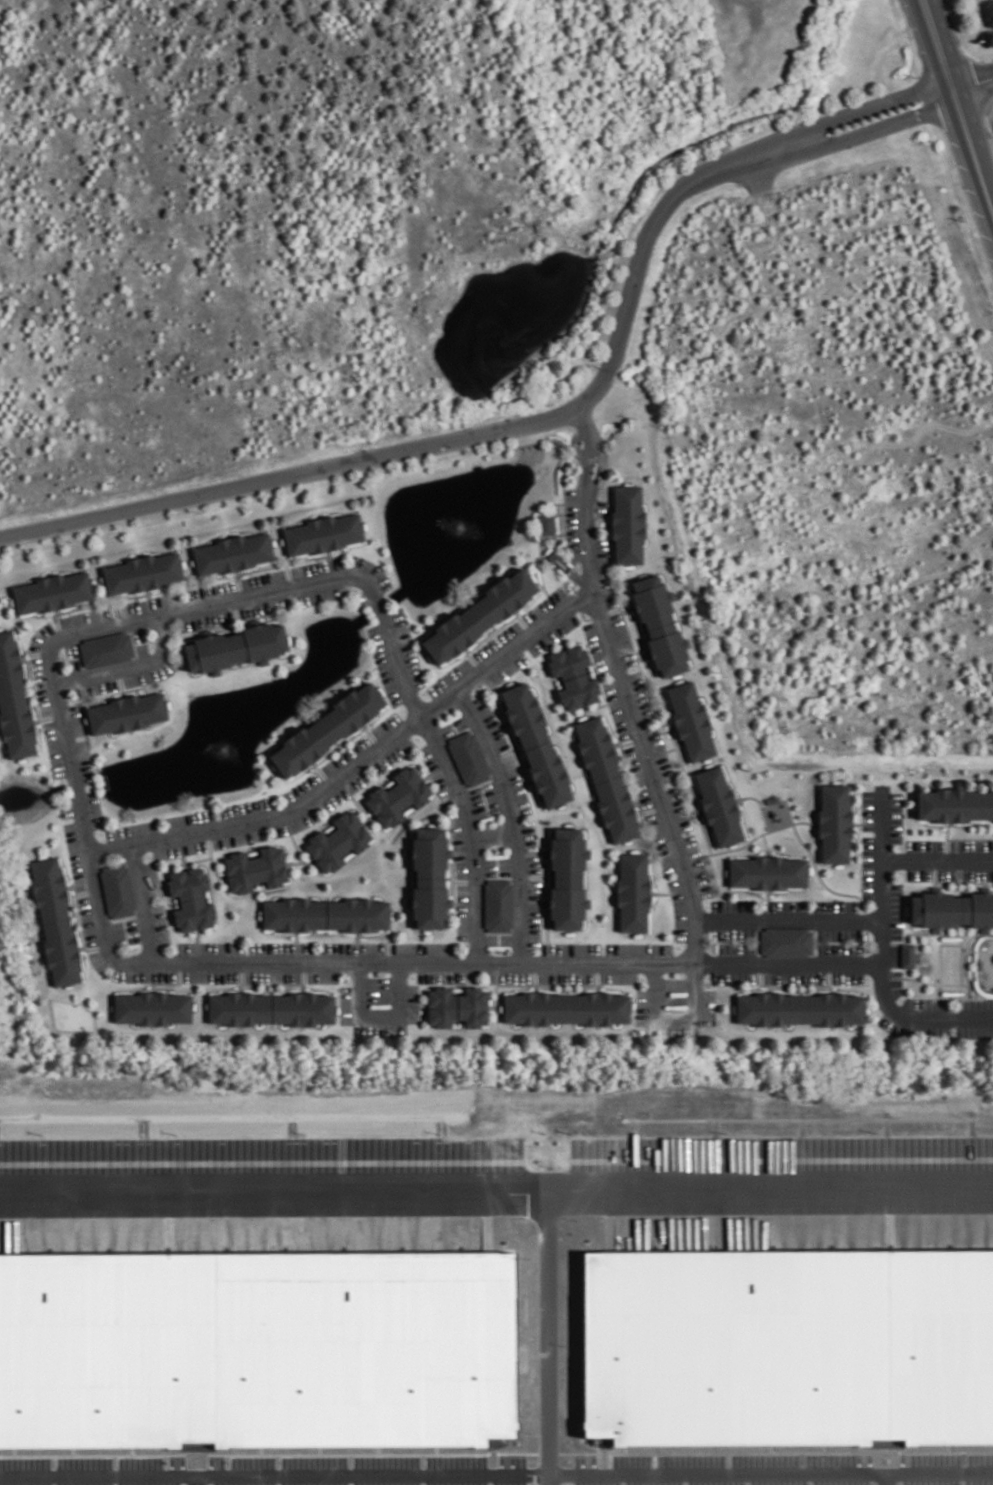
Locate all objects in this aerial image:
road: (938, 45)
road: (973, 85)
road: (866, 104)
road: (963, 120)
road: (874, 127)
road: (983, 179)
road: (582, 421)
road: (469, 434)
road: (585, 464)
road: (601, 464)
street lamp: (607, 468)
road: (569, 501)
road: (564, 507)
parking lot: (600, 507)
building: (545, 523)
building: (627, 523)
parking lot: (572, 524)
road: (595, 525)
building: (322, 533)
building: (232, 552)
road: (539, 562)
road: (282, 563)
road: (330, 563)
parking lot: (318, 566)
parking lot: (371, 570)
building: (141, 572)
parking lot: (604, 572)
road: (288, 574)
parking lot: (263, 578)
road: (238, 583)
street lamp: (353, 588)
parking lot: (211, 589)
building: (51, 591)
parking lot: (322, 594)
parking lot: (360, 599)
building: (651, 599)
parking lot: (548, 602)
parking lot: (149, 603)
road: (88, 605)
parking lot: (264, 606)
road: (235, 609)
road: (625, 609)
road: (57, 610)
road: (176, 610)
road: (114, 611)
building: (477, 614)
road: (598, 614)
parking lot: (85, 617)
parking lot: (205, 618)
road: (232, 621)
road: (522, 621)
road: (492, 632)
parking lot: (554, 632)
road: (557, 632)
parking lot: (139, 633)
parking lot: (41, 635)
parking lot: (623, 637)
building: (233, 646)
parking lot: (407, 646)
parking lot: (142, 647)
parking lot: (71, 648)
building: (106, 648)
parking lot: (597, 648)
building: (668, 648)
road: (34, 653)
street lamp: (64, 656)
road: (640, 656)
road: (473, 658)
building: (568, 661)
parking lot: (75, 662)
building: (10, 664)
parking lot: (383, 664)
road: (128, 665)
street lamp: (633, 667)
parking lot: (503, 671)
parking lot: (151, 672)
parking lot: (450, 676)
road: (120, 680)
parking lot: (42, 684)
parking lot: (96, 687)
road: (134, 687)
street lamp: (476, 690)
building: (578, 690)
street lamp: (424, 692)
parking lot: (642, 694)
road: (604, 702)
parking lot: (616, 708)
building: (125, 712)
building: (523, 713)
road: (49, 716)
parking lot: (77, 718)
building: (690, 720)
parking lot: (460, 722)
parking lot: (490, 722)
building: (18, 723)
parking lot: (386, 724)
building: (324, 728)
parking lot: (447, 728)
road: (637, 728)
road: (371, 735)
street lamp: (417, 737)
road: (631, 741)
road: (338, 745)
parking lot: (54, 748)
building: (596, 748)
road: (662, 751)
road: (504, 752)
road: (517, 752)
parking lot: (661, 752)
parking lot: (392, 754)
building: (467, 757)
parking lot: (84, 759)
road: (359, 762)
road: (434, 770)
building: (547, 772)
road: (323, 773)
parking lot: (437, 774)
parking lot: (640, 776)
road: (631, 777)
road: (686, 777)
parking lot: (516, 783)
parking lot: (301, 788)
parking lot: (345, 790)
building: (398, 794)
parking lot: (492, 796)
road: (354, 798)
road: (785, 799)
parking lot: (479, 801)
road: (636, 801)
road: (760, 803)
building: (947, 804)
building: (986, 804)
building: (718, 805)
parking lot: (247, 806)
building: (616, 807)
parking lot: (679, 807)
parking lot: (93, 808)
road: (653, 808)
parking lot: (189, 818)
road: (368, 818)
road: (512, 820)
building: (834, 822)
road: (867, 822)
parking lot: (295, 823)
parking lot: (132, 829)
street lamp: (100, 832)
road: (472, 834)
road: (494, 834)
street lamp: (792, 836)
parking lot: (239, 837)
road: (292, 837)
road: (969, 838)
building: (338, 840)
road: (946, 840)
parking lot: (661, 841)
road: (765, 842)
parking lot: (459, 844)
parking lot: (530, 845)
street lamp: (899, 845)
parking lot: (924, 845)
parking lot: (971, 845)
parking lot: (179, 848)
building: (428, 850)
building: (566, 851)
parking lot: (75, 854)
road: (211, 855)
street lamp: (151, 856)
road: (198, 859)
road: (937, 859)
road: (183, 861)
road: (300, 861)
parking lot: (505, 865)
parking lot: (697, 865)
parking lot: (490, 866)
parking lot: (868, 866)
building: (256, 867)
road: (934, 870)
building: (767, 871)
parking lot: (917, 873)
parking lot: (965, 873)
road: (539, 875)
road: (820, 876)
road: (452, 877)
parking lot: (151, 879)
road: (464, 880)
road: (881, 881)
building: (186, 882)
building: (51, 889)
building: (117, 889)
road: (82, 890)
building: (633, 890)
road: (670, 892)
building: (428, 901)
building: (566, 901)
road: (142, 902)
road: (464, 902)
building: (498, 904)
street lamp: (707, 904)
road: (767, 904)
parking lot: (733, 905)
parking lot: (784, 905)
parking lot: (835, 905)
parking lot: (679, 908)
building: (933, 908)
building: (977, 909)
parking lot: (895, 910)
parking lot: (463, 911)
building: (192, 912)
parking lot: (534, 912)
building: (293, 913)
building: (356, 913)
parking lot: (88, 919)
road: (788, 919)
parking lot: (160, 923)
road: (82, 926)
parking lot: (133, 929)
road: (936, 931)
parking lot: (118, 932)
parking lot: (733, 933)
parking lot: (838, 933)
road: (386, 935)
road: (547, 935)
road: (358, 936)
parking lot: (491, 938)
parking lot: (506, 938)
building: (786, 940)
road: (197, 944)
road: (83, 945)
parking lot: (282, 946)
road: (298, 946)
street lamp: (602, 946)
street lamp: (678, 946)
parking lot: (210, 947)
parking lot: (354, 947)
parking lot: (423, 947)
parking lot: (571, 948)
parking lot: (639, 948)
parking lot: (736, 948)
parking lot: (838, 948)
street lamp: (498, 949)
building: (63, 950)
building: (906, 954)
road: (960, 957)
parking lot: (97, 959)
road: (938, 959)
road: (513, 962)
park: (949, 963)
road: (242, 971)
road: (535, 972)
road: (597, 972)
parking lot: (144, 974)
parking lot: (211, 975)
parking lot: (274, 975)
parking lot: (323, 975)
street lamp: (412, 975)
parking lot: (445, 975)
parking lot: (508, 975)
parking lot: (618, 975)
parking lot: (565, 976)
street lamp: (642, 976)
parking lot: (794, 976)
parking lot: (847, 976)
street lamp: (867, 977)
road: (173, 982)
road: (280, 982)
road: (929, 982)
road: (535, 983)
road: (794, 984)
road: (162, 986)
road: (304, 986)
parking lot: (380, 989)
parking lot: (675, 990)
street lamp: (900, 998)
parking lot: (413, 1001)
parking lot: (347, 1003)
parking lot: (974, 1003)
building: (441, 1005)
building: (471, 1005)
parking lot: (642, 1005)
parking lot: (709, 1006)
building: (151, 1007)
building: (239, 1007)
building: (566, 1007)
building: (798, 1007)
building: (302, 1008)
road: (380, 1016)
road: (675, 1017)
parking lot: (381, 1028)
parking lot: (912, 1028)
parking lot: (674, 1029)
street lamp: (952, 1030)
road: (626, 1186)
road: (280, 1187)
building: (783, 1338)
building: (255, 1344)
building: (883, 1442)
road: (709, 1472)
road: (928, 1474)
road: (370, 1475)
road: (101, 1477)

